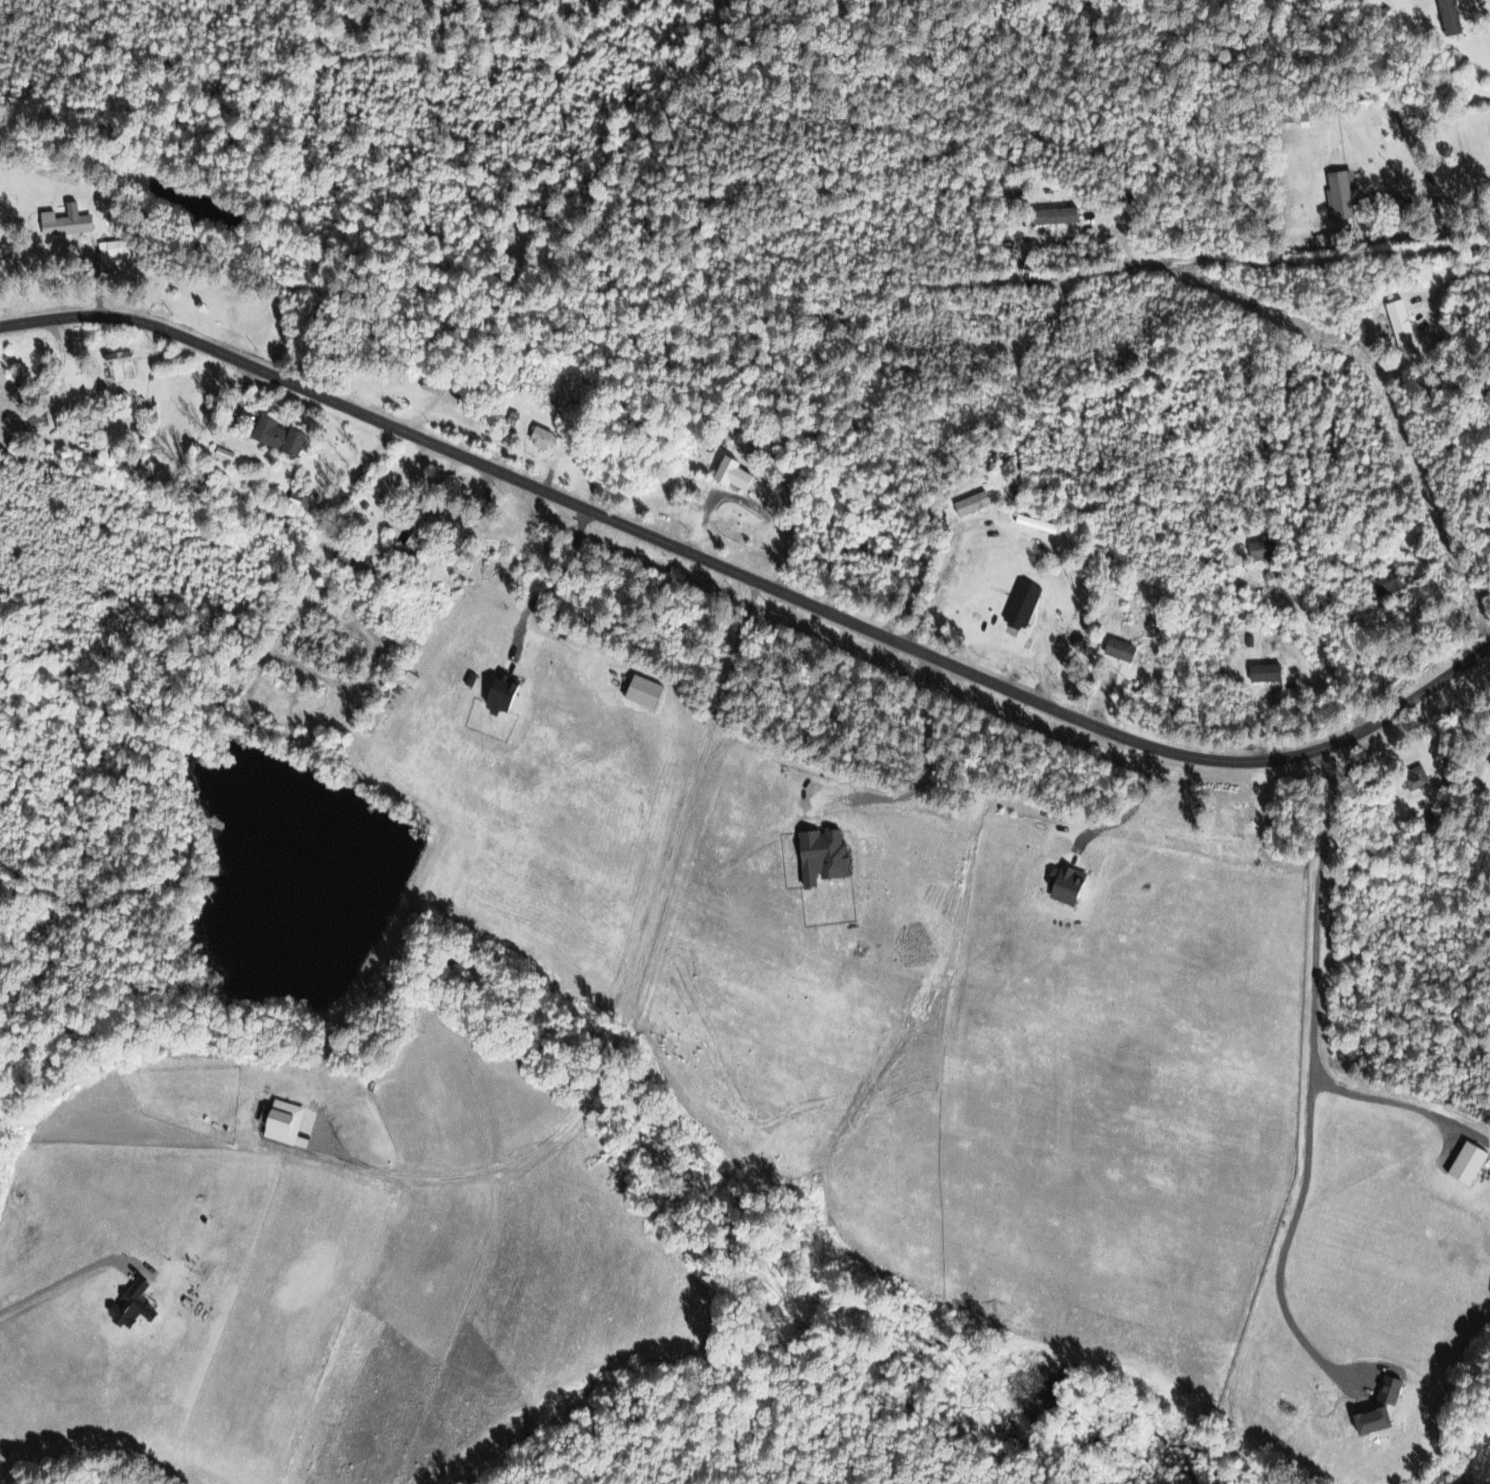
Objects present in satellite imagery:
building: (1448, 17)
building: (1339, 194)
road: (1430, 200)
building: (1054, 216)
building: (64, 221)
building: (110, 248)
building: (1399, 323)
building: (117, 363)
building: (510, 421)
building: (276, 435)
building: (541, 437)
building: (730, 472)
building: (301, 500)
building: (970, 502)
building: (1034, 522)
building: (1260, 549)
building: (350, 557)
building: (1386, 583)
road: (752, 587)
building: (1020, 603)
building: (1118, 649)
road: (1322, 653)
building: (1264, 672)
road: (1271, 694)
building: (1414, 778)
building: (281, 1121)
building: (1465, 1163)
road: (53, 1284)
building: (129, 1305)
building: (1387, 1390)
building: (1369, 1421)

